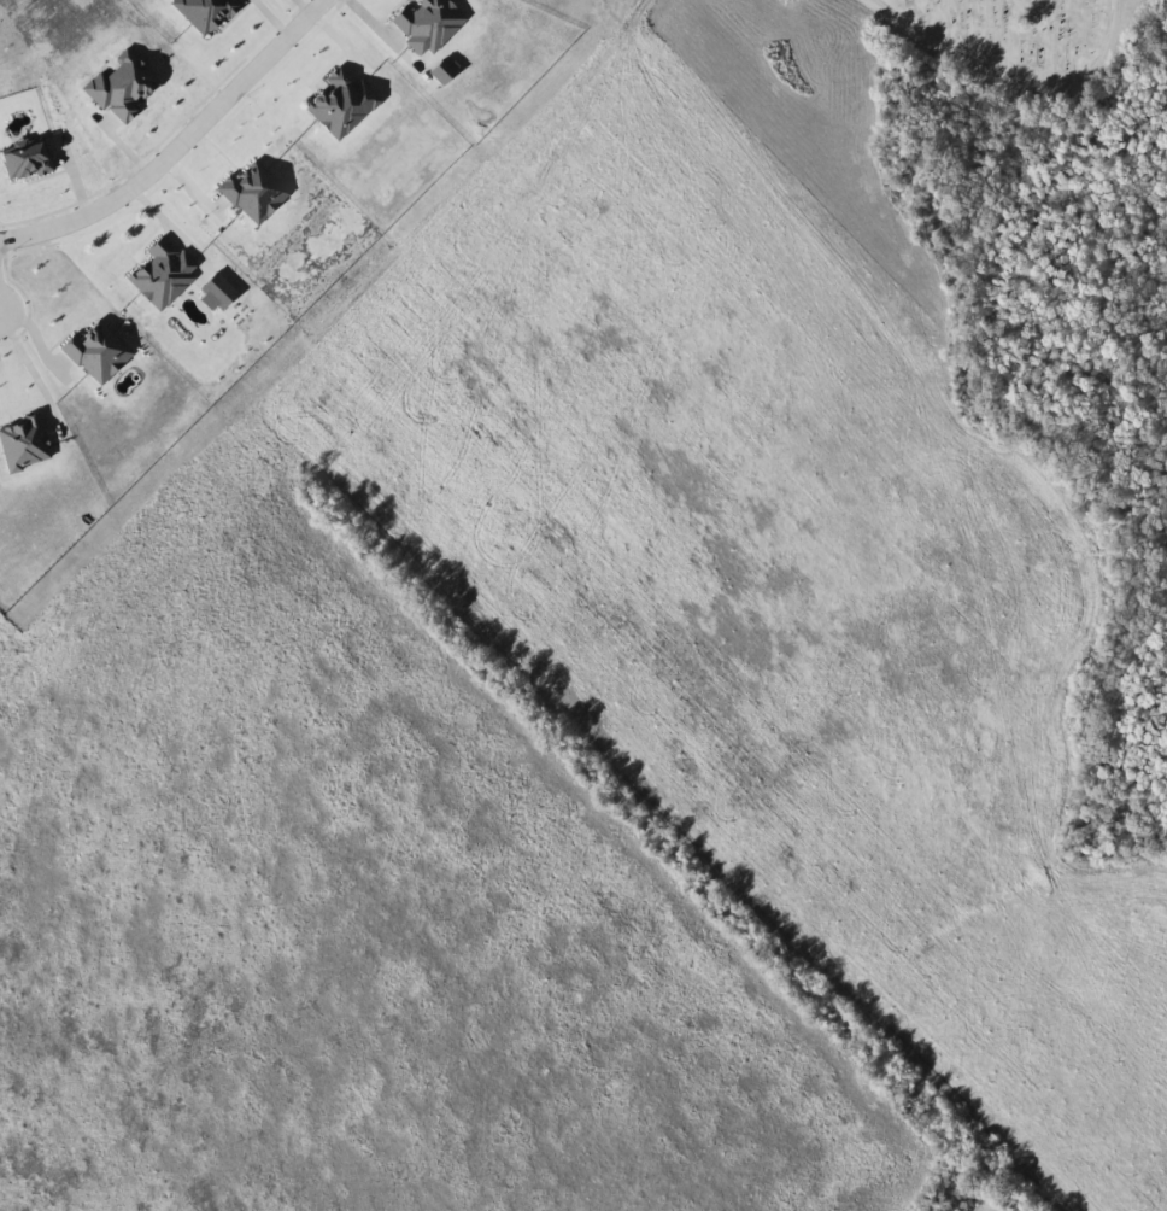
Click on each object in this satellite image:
park: (1009, 42)
road: (181, 148)
road: (25, 363)

